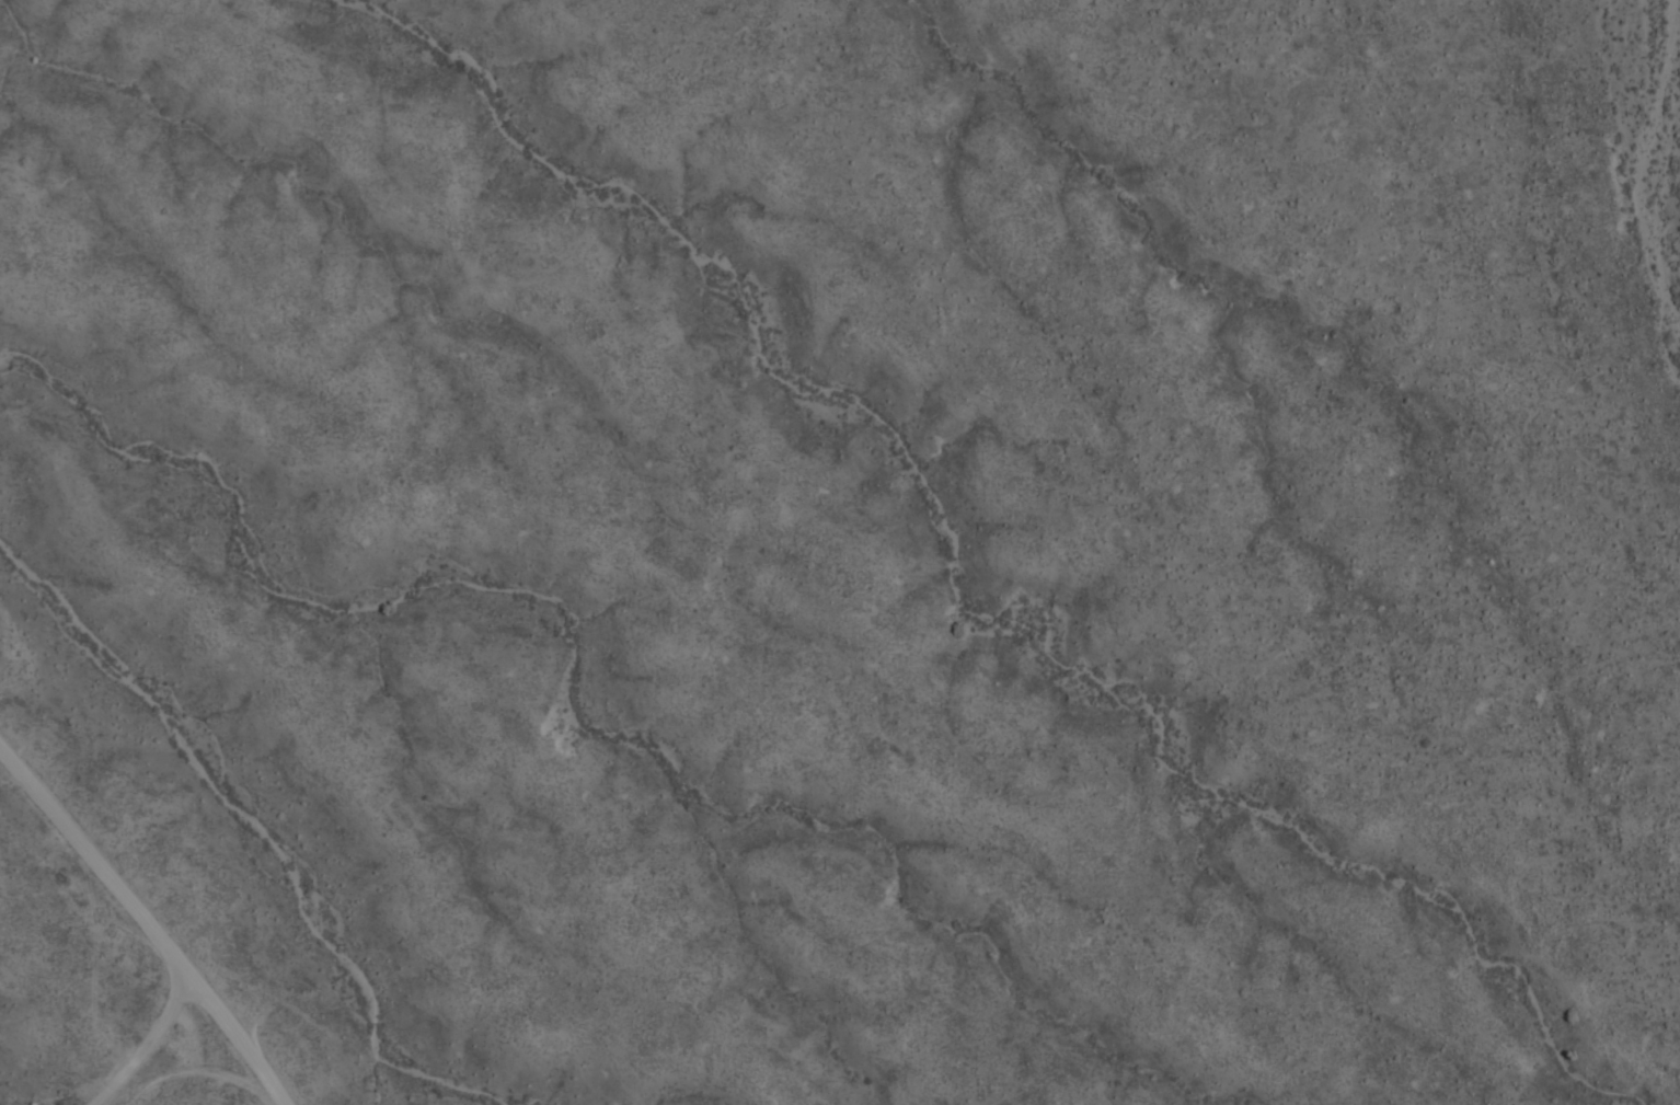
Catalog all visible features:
road: (127, 936)
road: (130, 1051)

